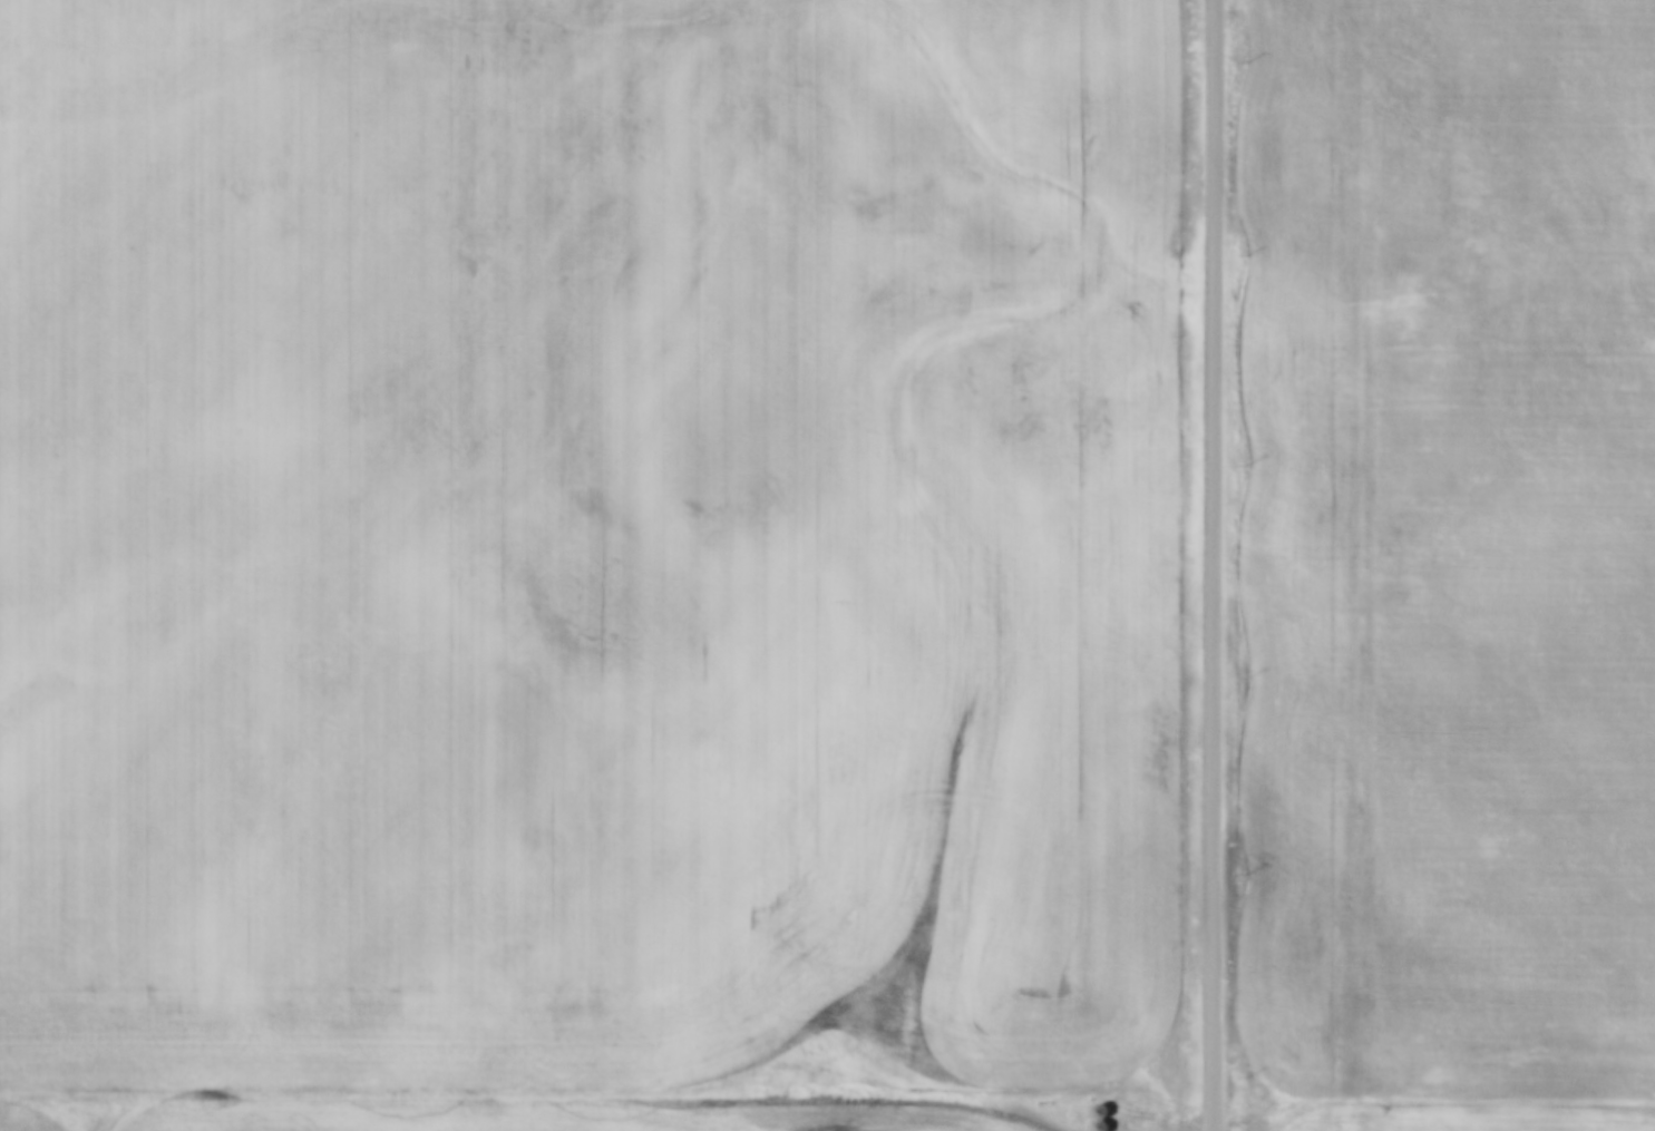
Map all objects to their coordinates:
road: (1217, 565)
building: (1097, 1102)
silo: (1097, 1102)
road: (1194, 1115)
building: (1097, 1119)
silo: (1097, 1119)
road: (963, 1127)
building: (1113, 1129)
silo: (1113, 1129)

